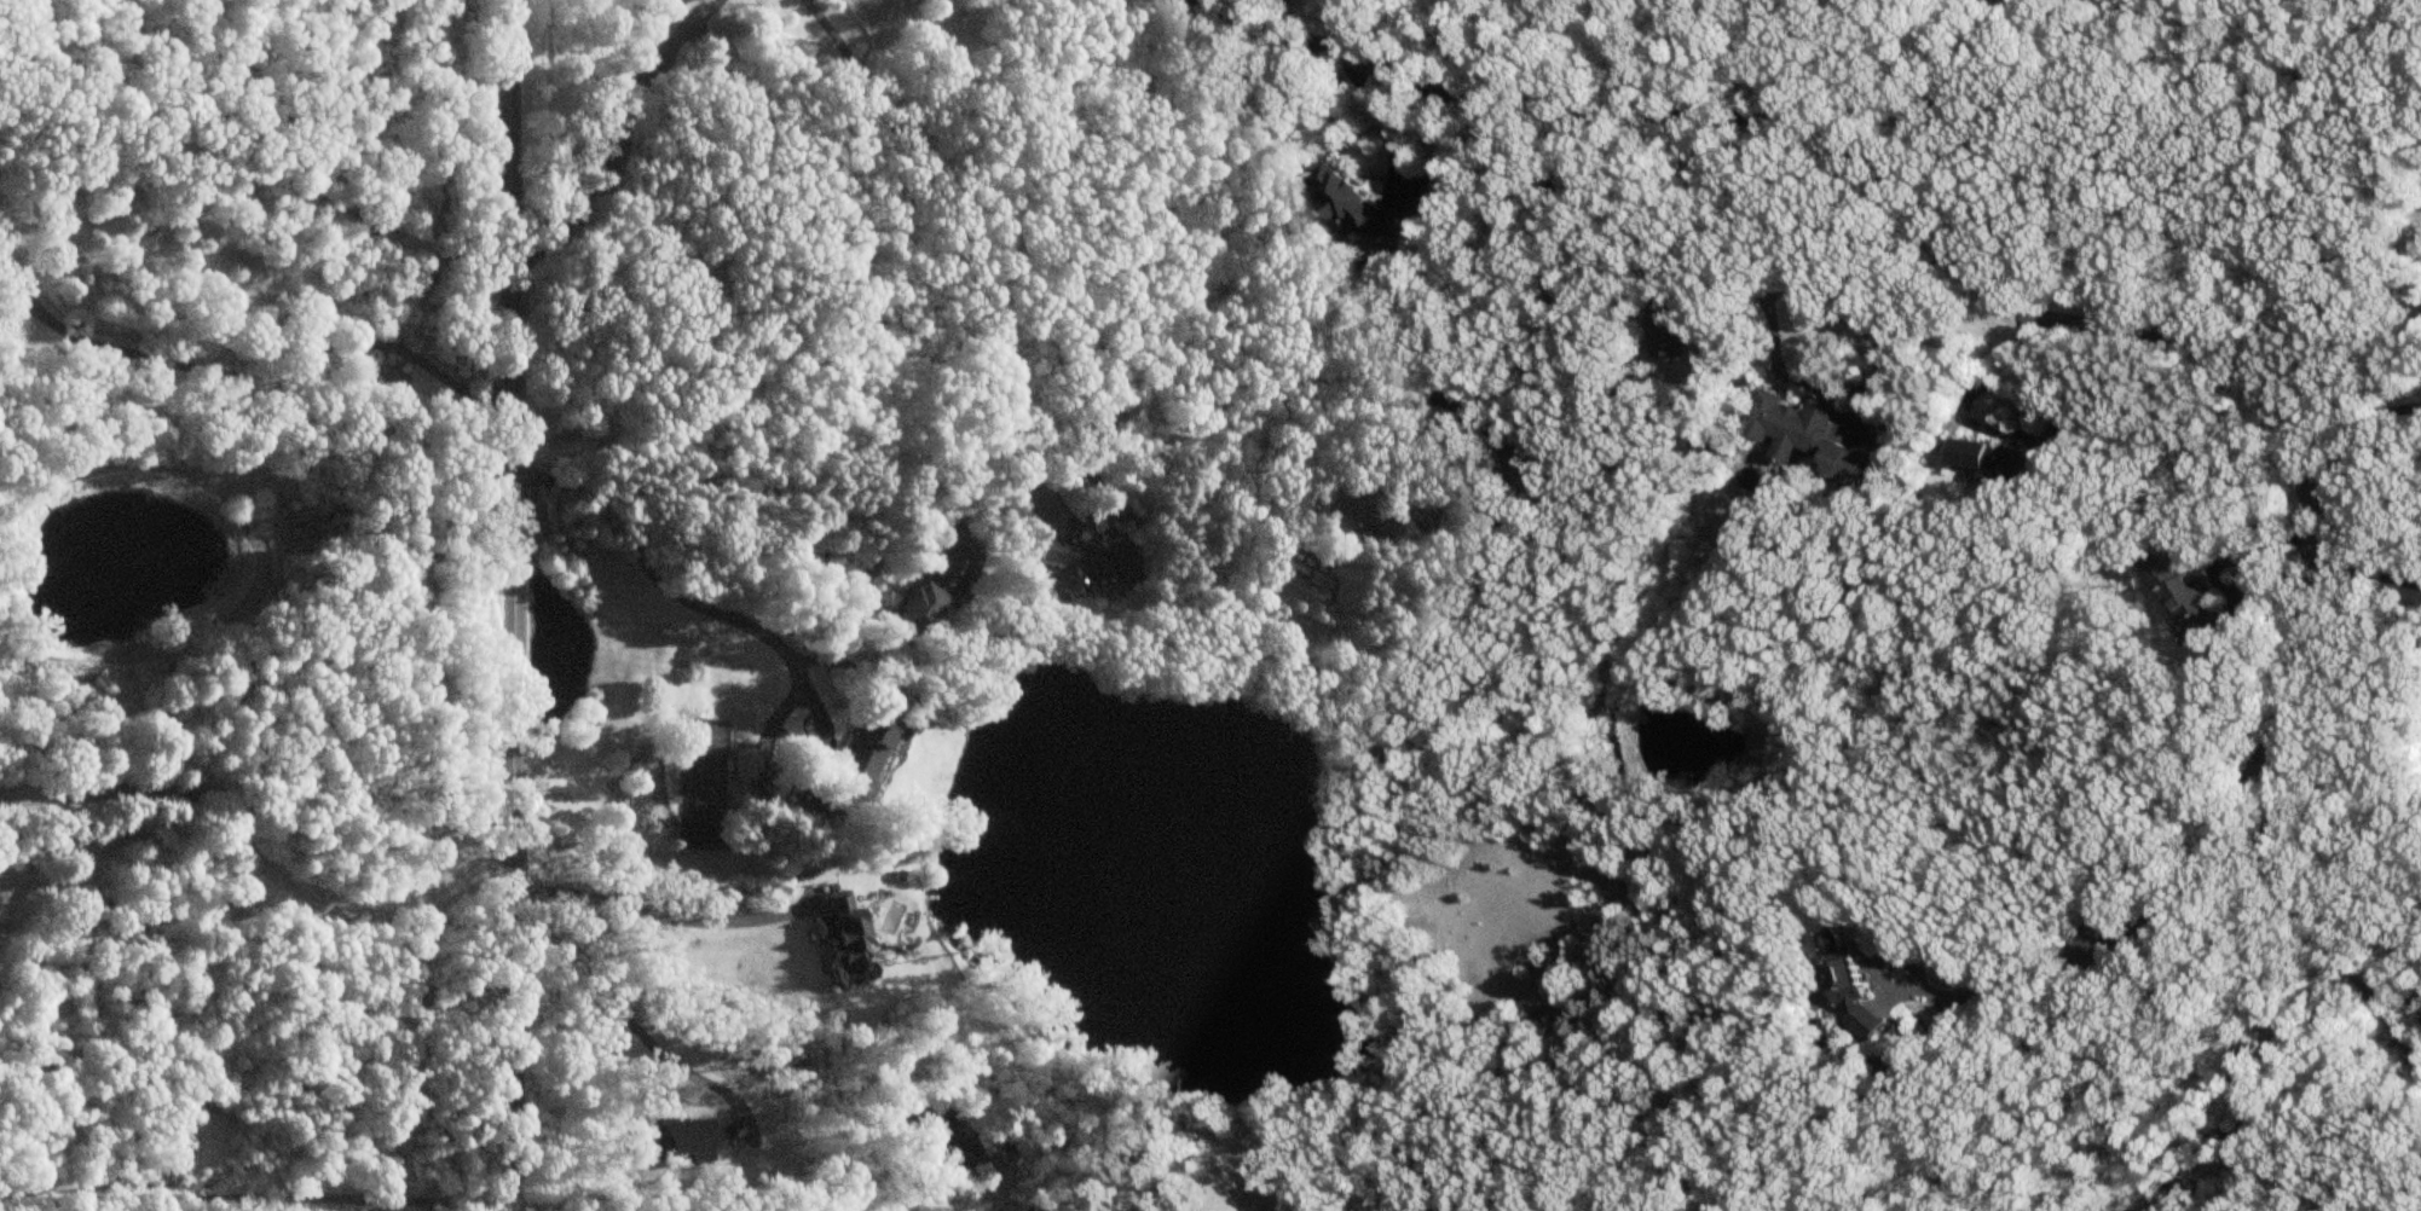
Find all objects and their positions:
road: (1249, 7)
road: (1518, 54)
road: (1392, 128)
road: (619, 140)
road: (942, 227)
road: (871, 262)
road: (27, 278)
road: (1755, 289)
road: (27, 305)
road: (2121, 328)
road: (1533, 334)
building: (1665, 337)
road: (290, 361)
road: (513, 418)
building: (1789, 424)
road: (2358, 438)
building: (1857, 456)
building: (1994, 458)
building: (1366, 510)
building: (1088, 562)
road: (2367, 572)
building: (928, 591)
building: (2183, 591)
road: (2046, 608)
road: (752, 627)
building: (857, 765)
building: (701, 835)
road: (260, 861)
road: (92, 864)
road: (2304, 909)
road: (652, 914)
building: (1849, 980)
road: (623, 1006)
road: (513, 1024)
road: (741, 1118)
road: (254, 1194)

